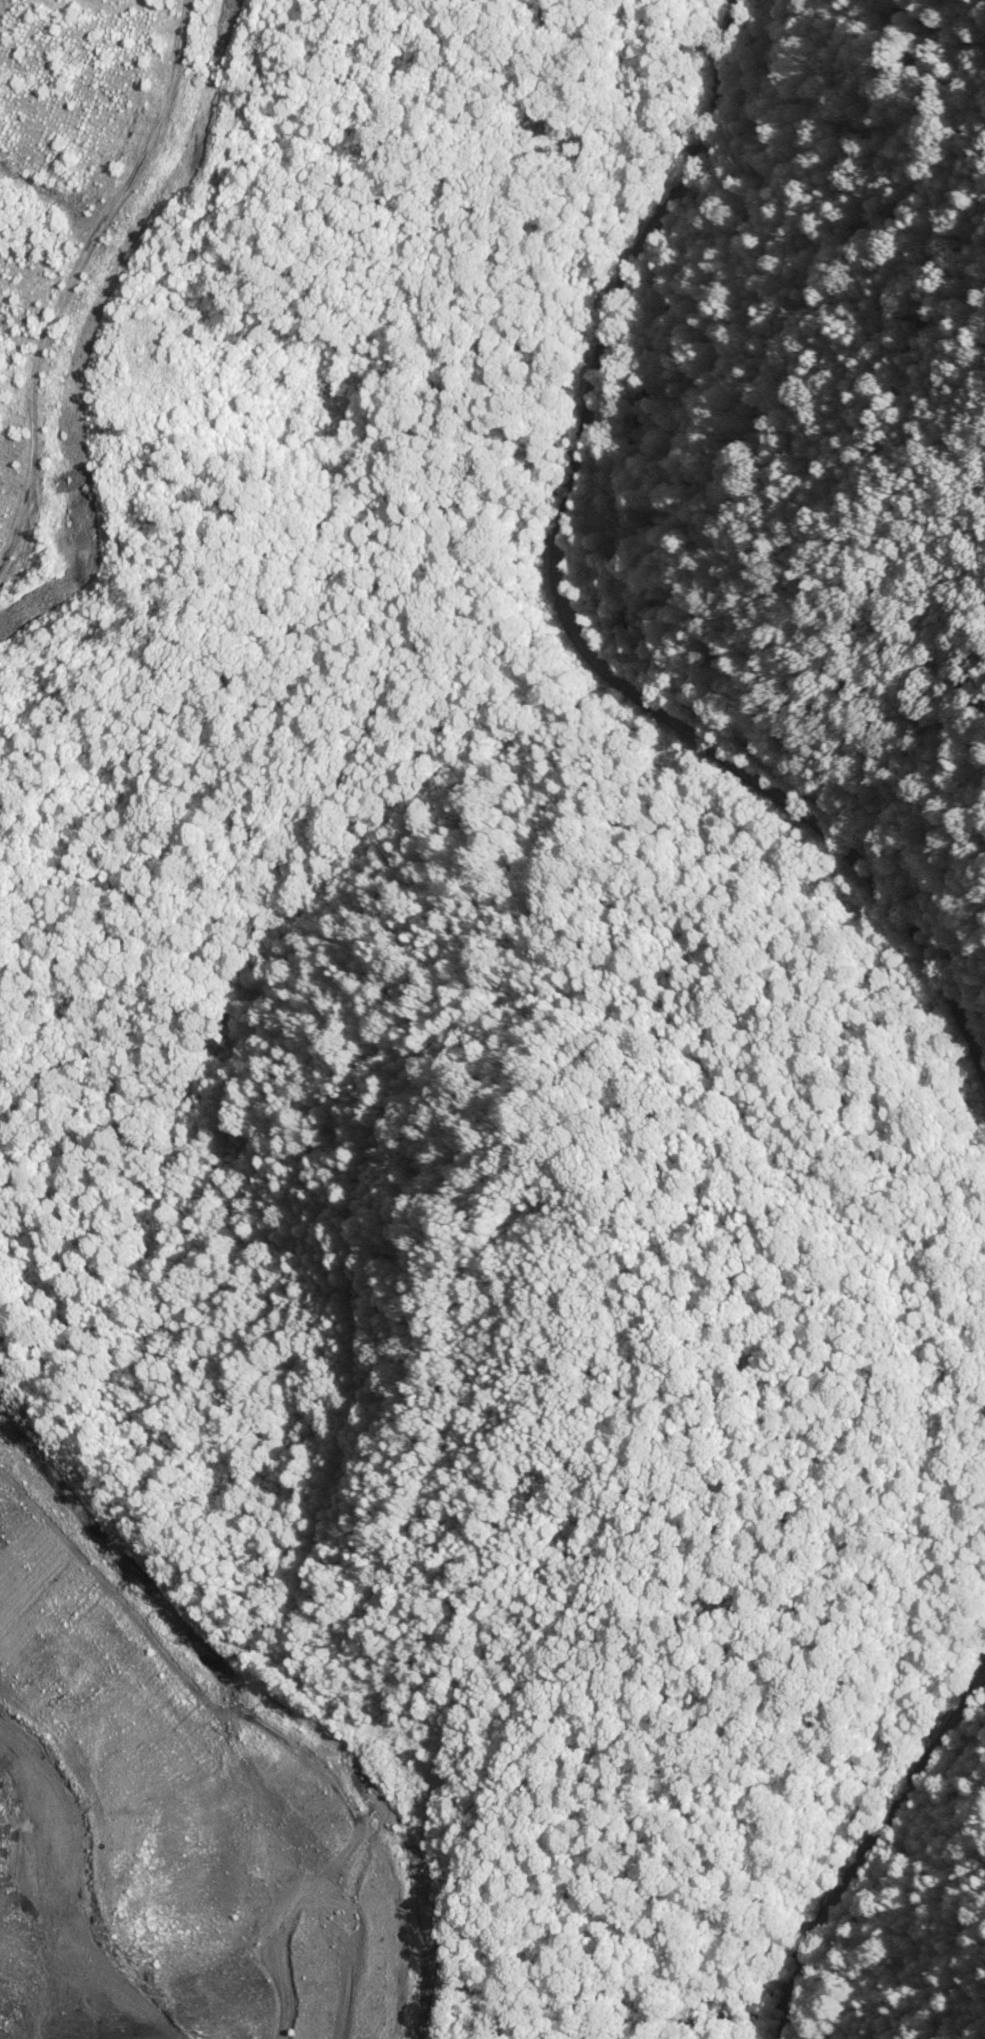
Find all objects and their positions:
building: (217, 28)
quarry: (88, 248)
road: (568, 608)
quarry: (180, 1805)
road: (865, 1850)

